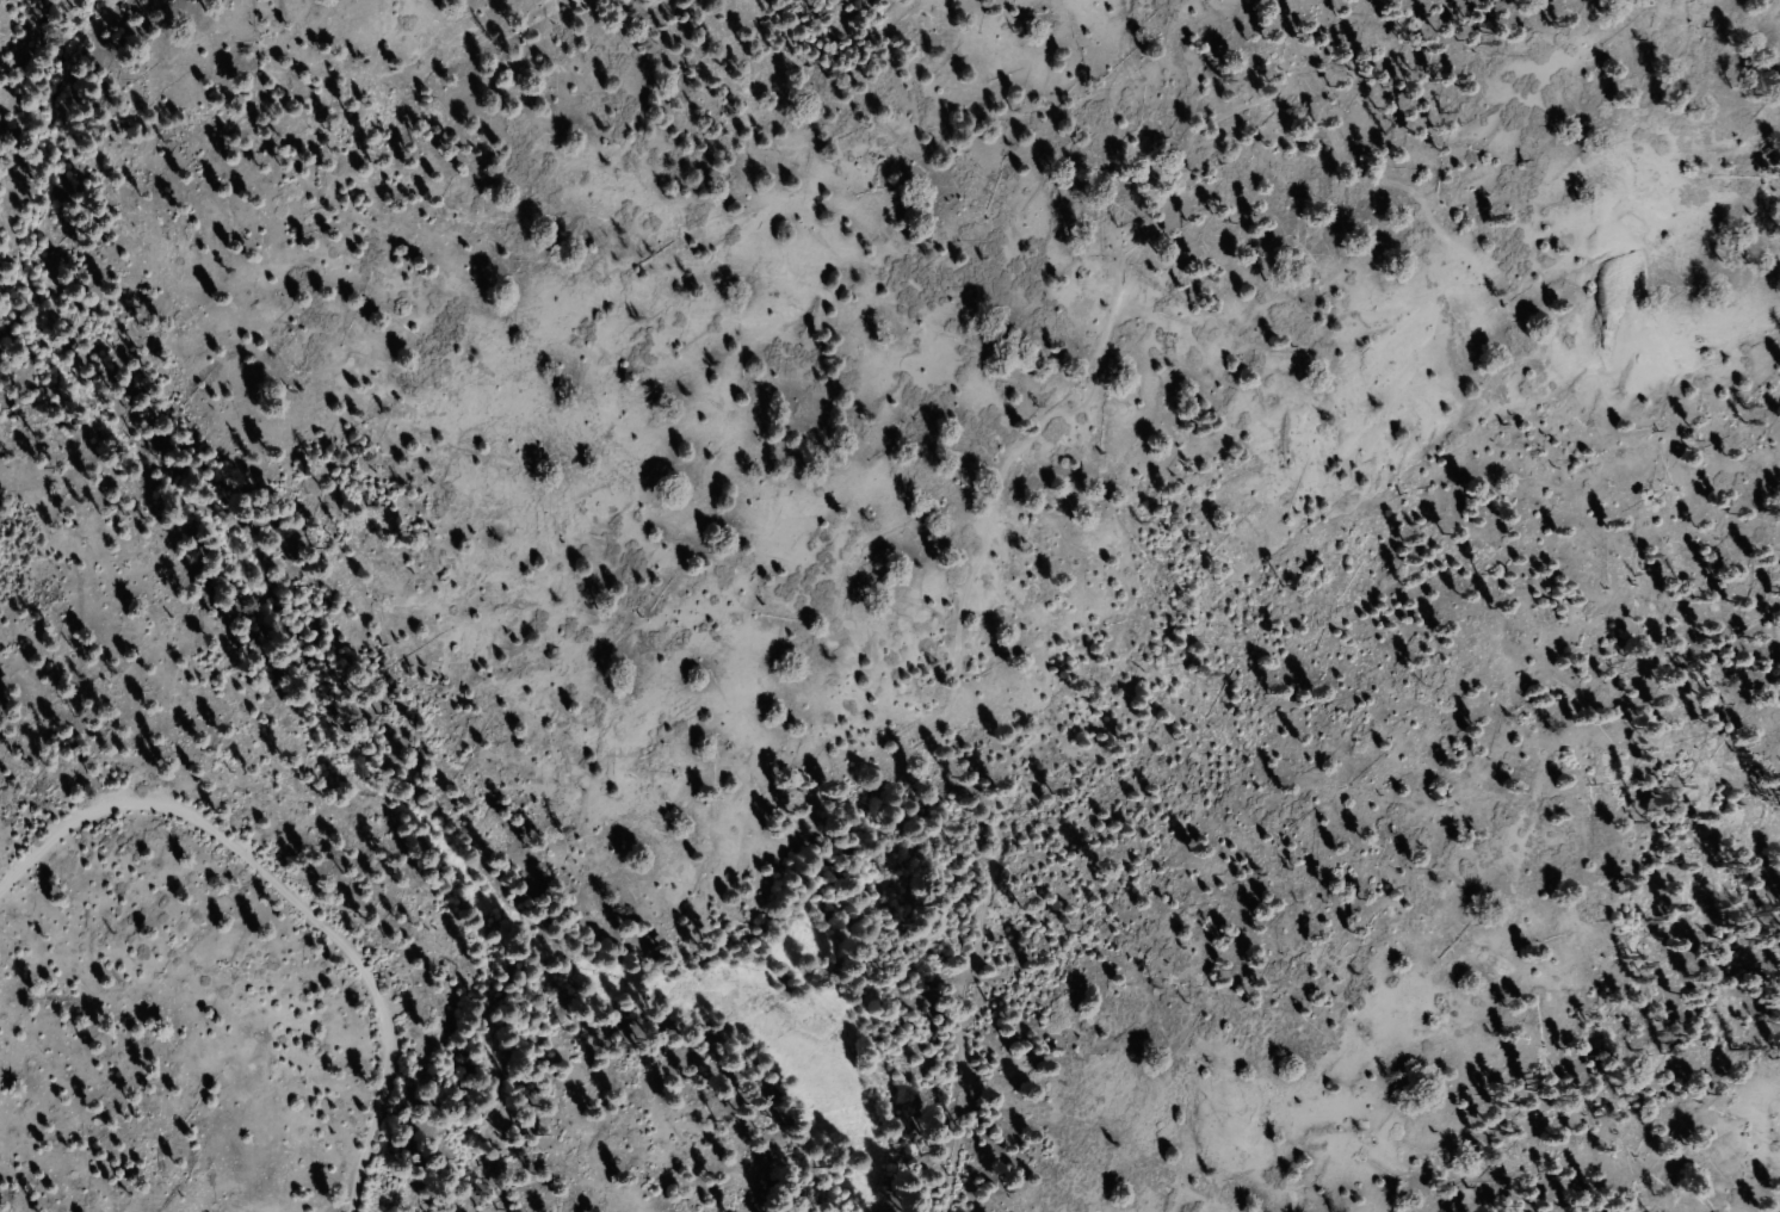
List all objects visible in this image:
road: (303, 889)
road: (972, 1007)

